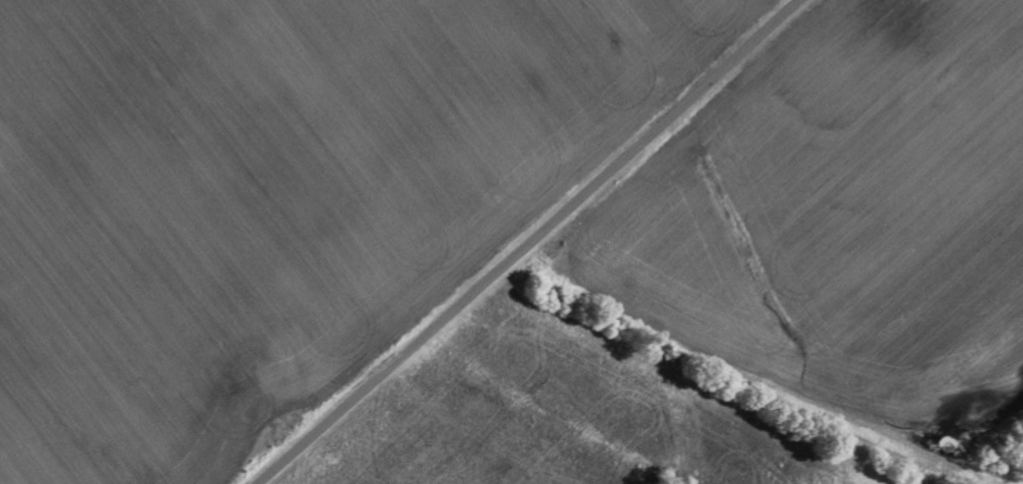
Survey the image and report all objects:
road: (528, 243)

